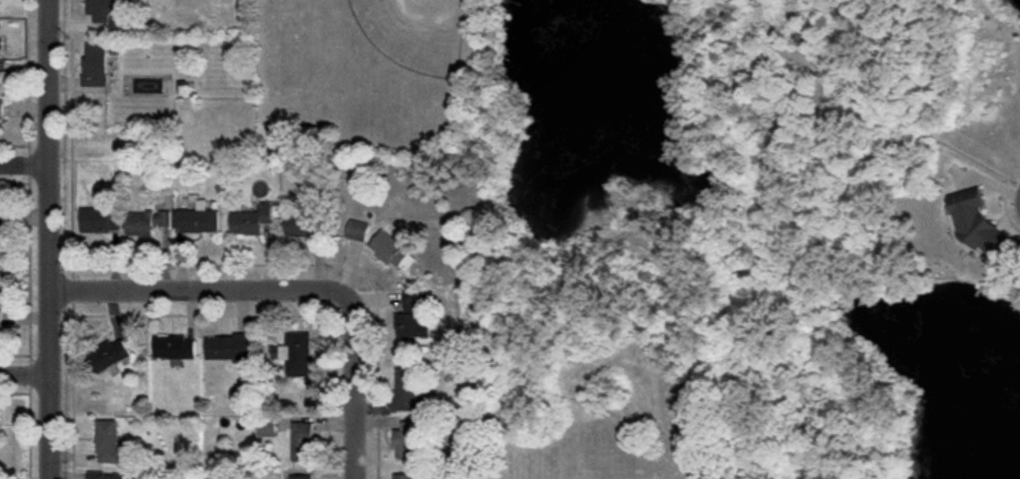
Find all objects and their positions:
building: (111, 13)
building: (96, 64)
building: (1, 110)
road: (24, 162)
building: (100, 220)
building: (196, 220)
building: (251, 220)
building: (976, 221)
building: (146, 222)
building: (303, 222)
building: (2, 224)
building: (358, 230)
road: (47, 239)
building: (393, 251)
road: (197, 285)
building: (0, 314)
building: (412, 316)
building: (174, 347)
building: (229, 348)
building: (109, 354)
building: (296, 354)
road: (22, 370)
road: (353, 385)
building: (406, 388)
building: (406, 440)
building: (107, 441)
building: (302, 441)
building: (105, 475)

